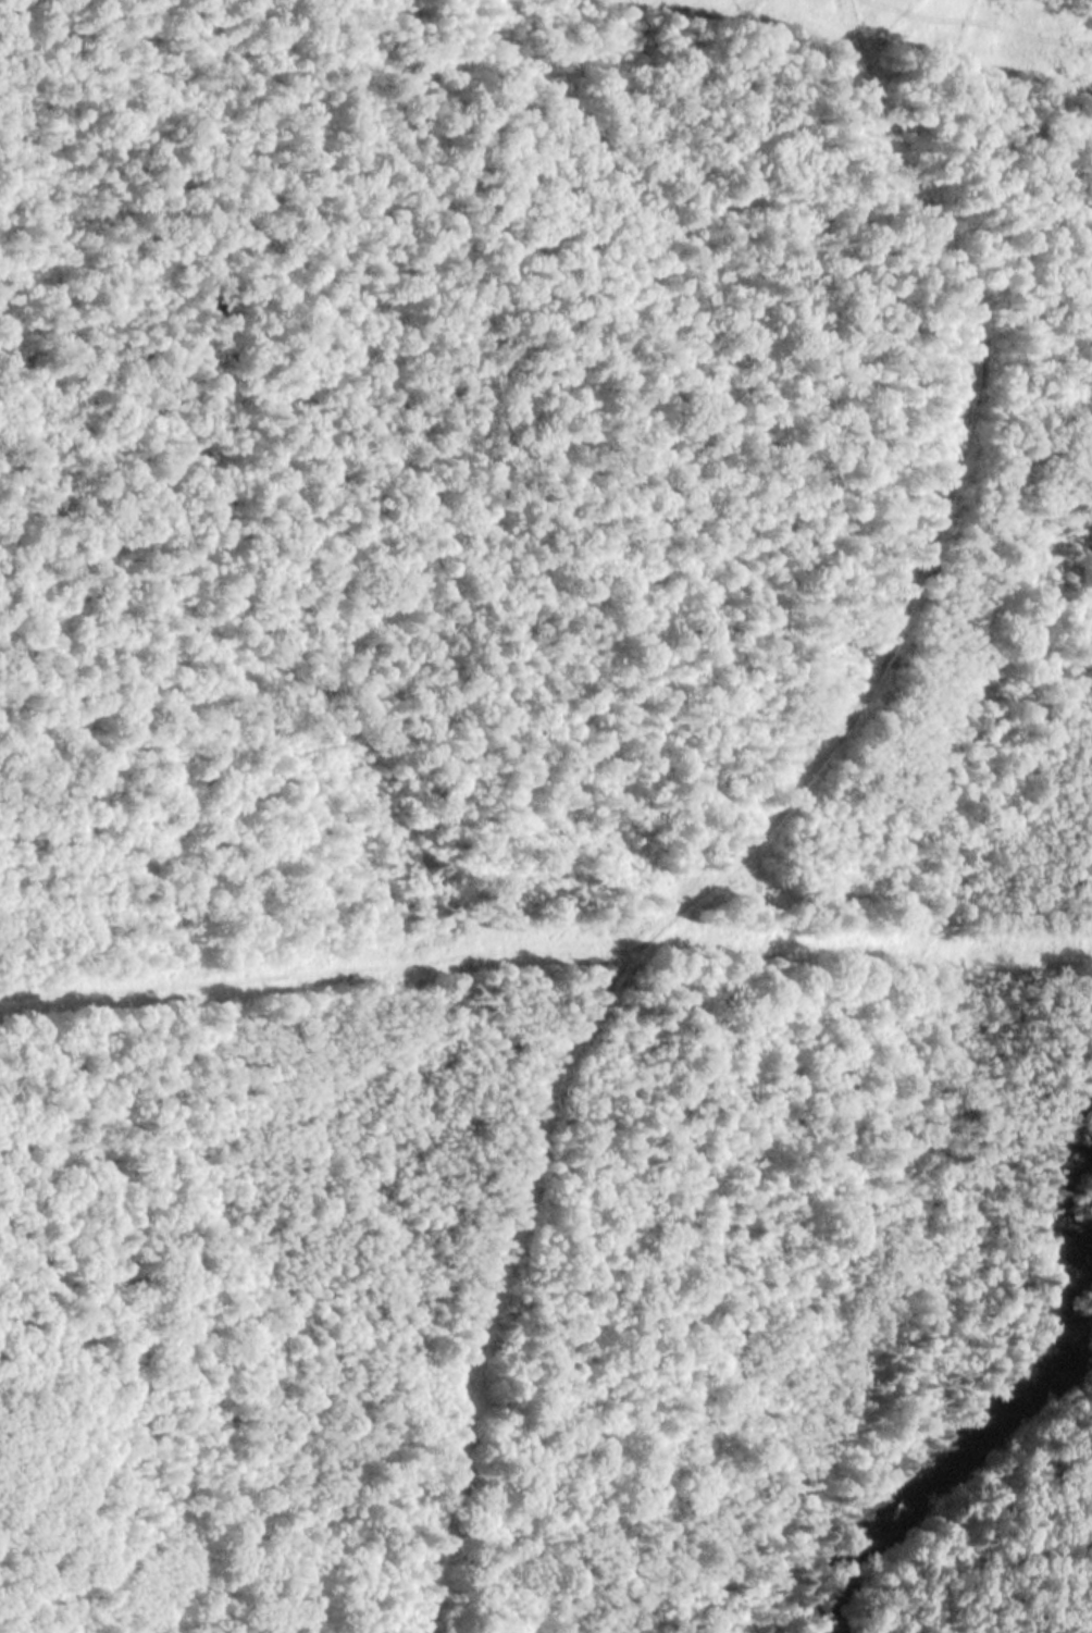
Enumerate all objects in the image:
ski resort: (508, 55)
river: (991, 1371)

